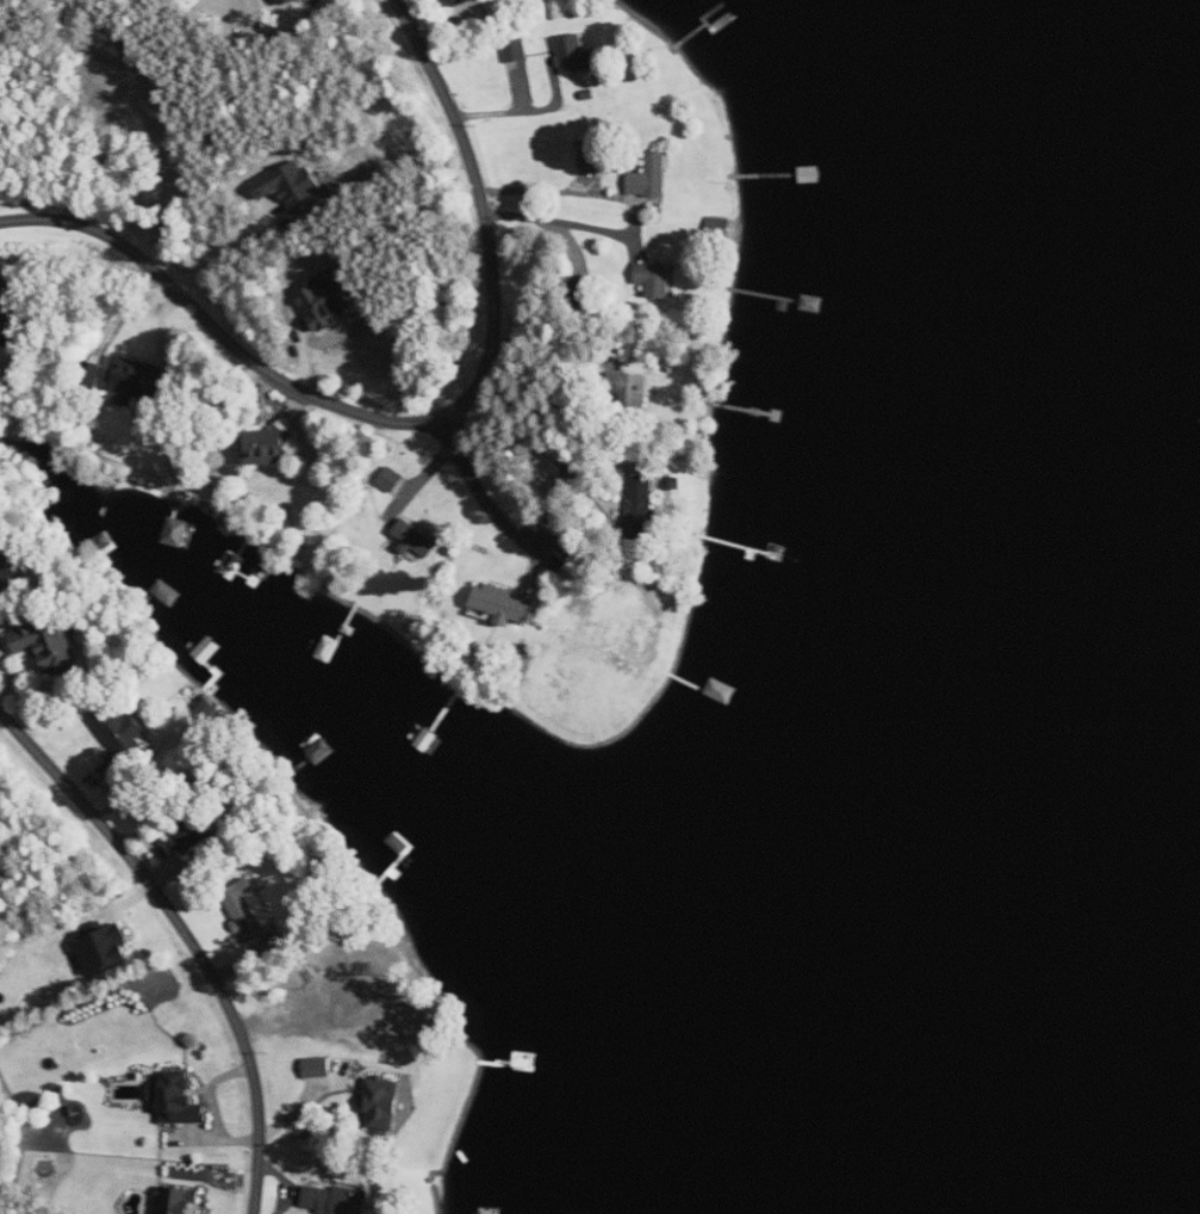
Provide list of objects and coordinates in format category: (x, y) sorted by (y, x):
building: (462, 2)
building: (574, 55)
building: (590, 154)
building: (649, 178)
building: (291, 186)
road: (230, 251)
building: (655, 278)
building: (324, 300)
building: (8, 303)
building: (133, 382)
building: (632, 388)
road: (425, 422)
building: (267, 447)
building: (392, 479)
road: (484, 496)
building: (641, 508)
building: (416, 540)
building: (8, 577)
building: (502, 603)
building: (48, 645)
building: (123, 736)
building: (188, 836)
building: (248, 909)
road: (189, 933)
building: (104, 950)
building: (366, 1003)
building: (318, 1067)
building: (178, 1098)
building: (383, 1104)
building: (335, 1200)
building: (180, 1201)

